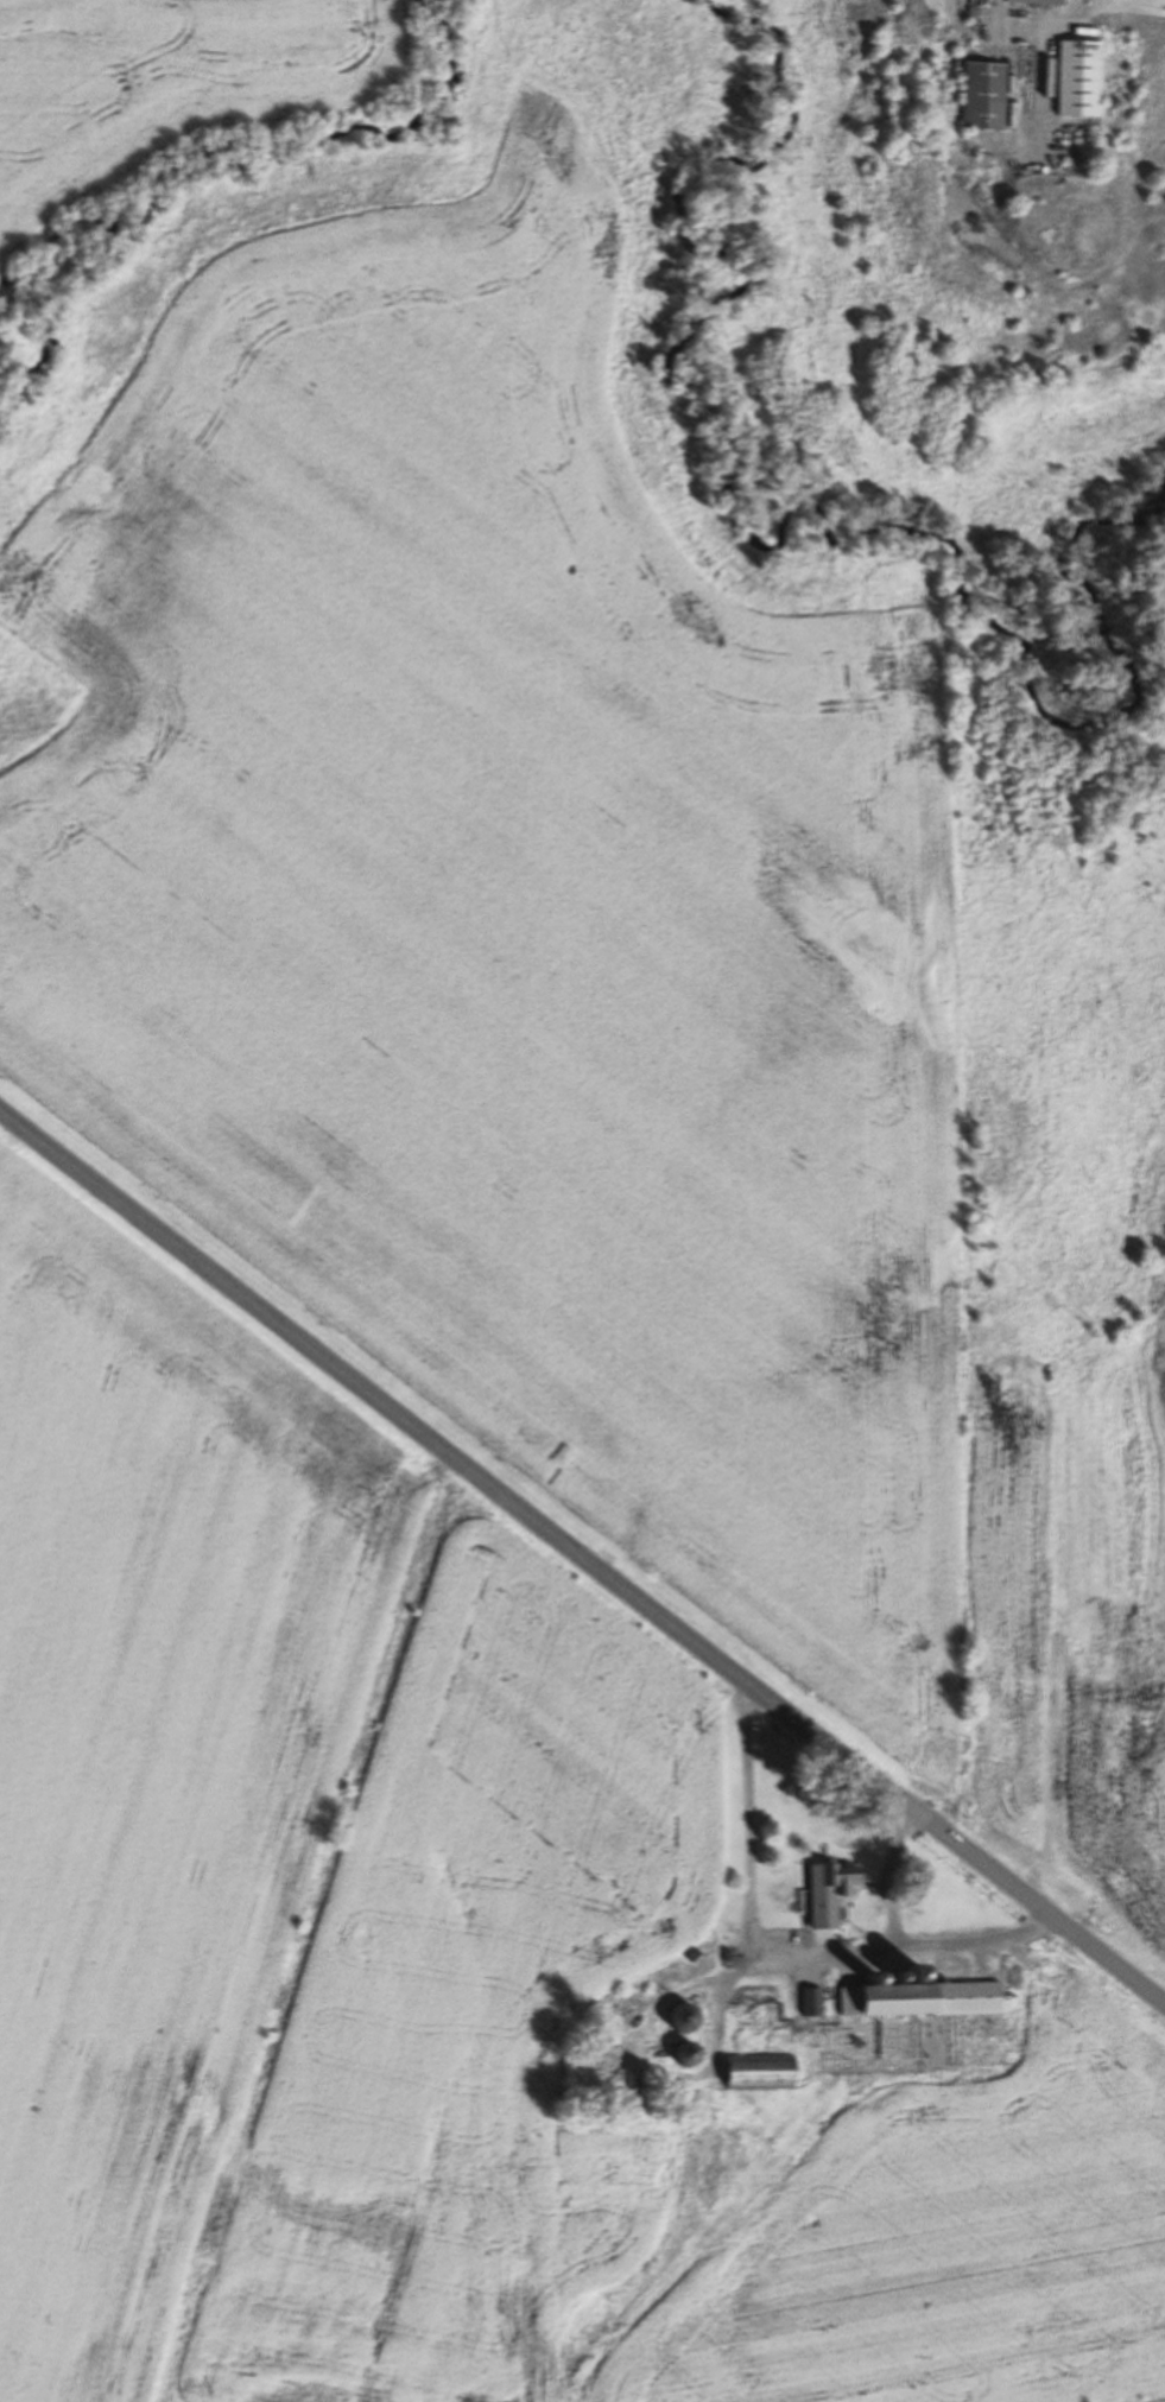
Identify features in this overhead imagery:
building: (1039, 1)
building: (1083, 77)
building: (987, 96)
road: (583, 1553)
road: (889, 1874)
building: (831, 1893)
road: (777, 1953)
building: (760, 1996)
building: (923, 1999)
building: (816, 2002)
building: (690, 2017)
building: (752, 2023)
building: (691, 2053)
building: (761, 2071)

